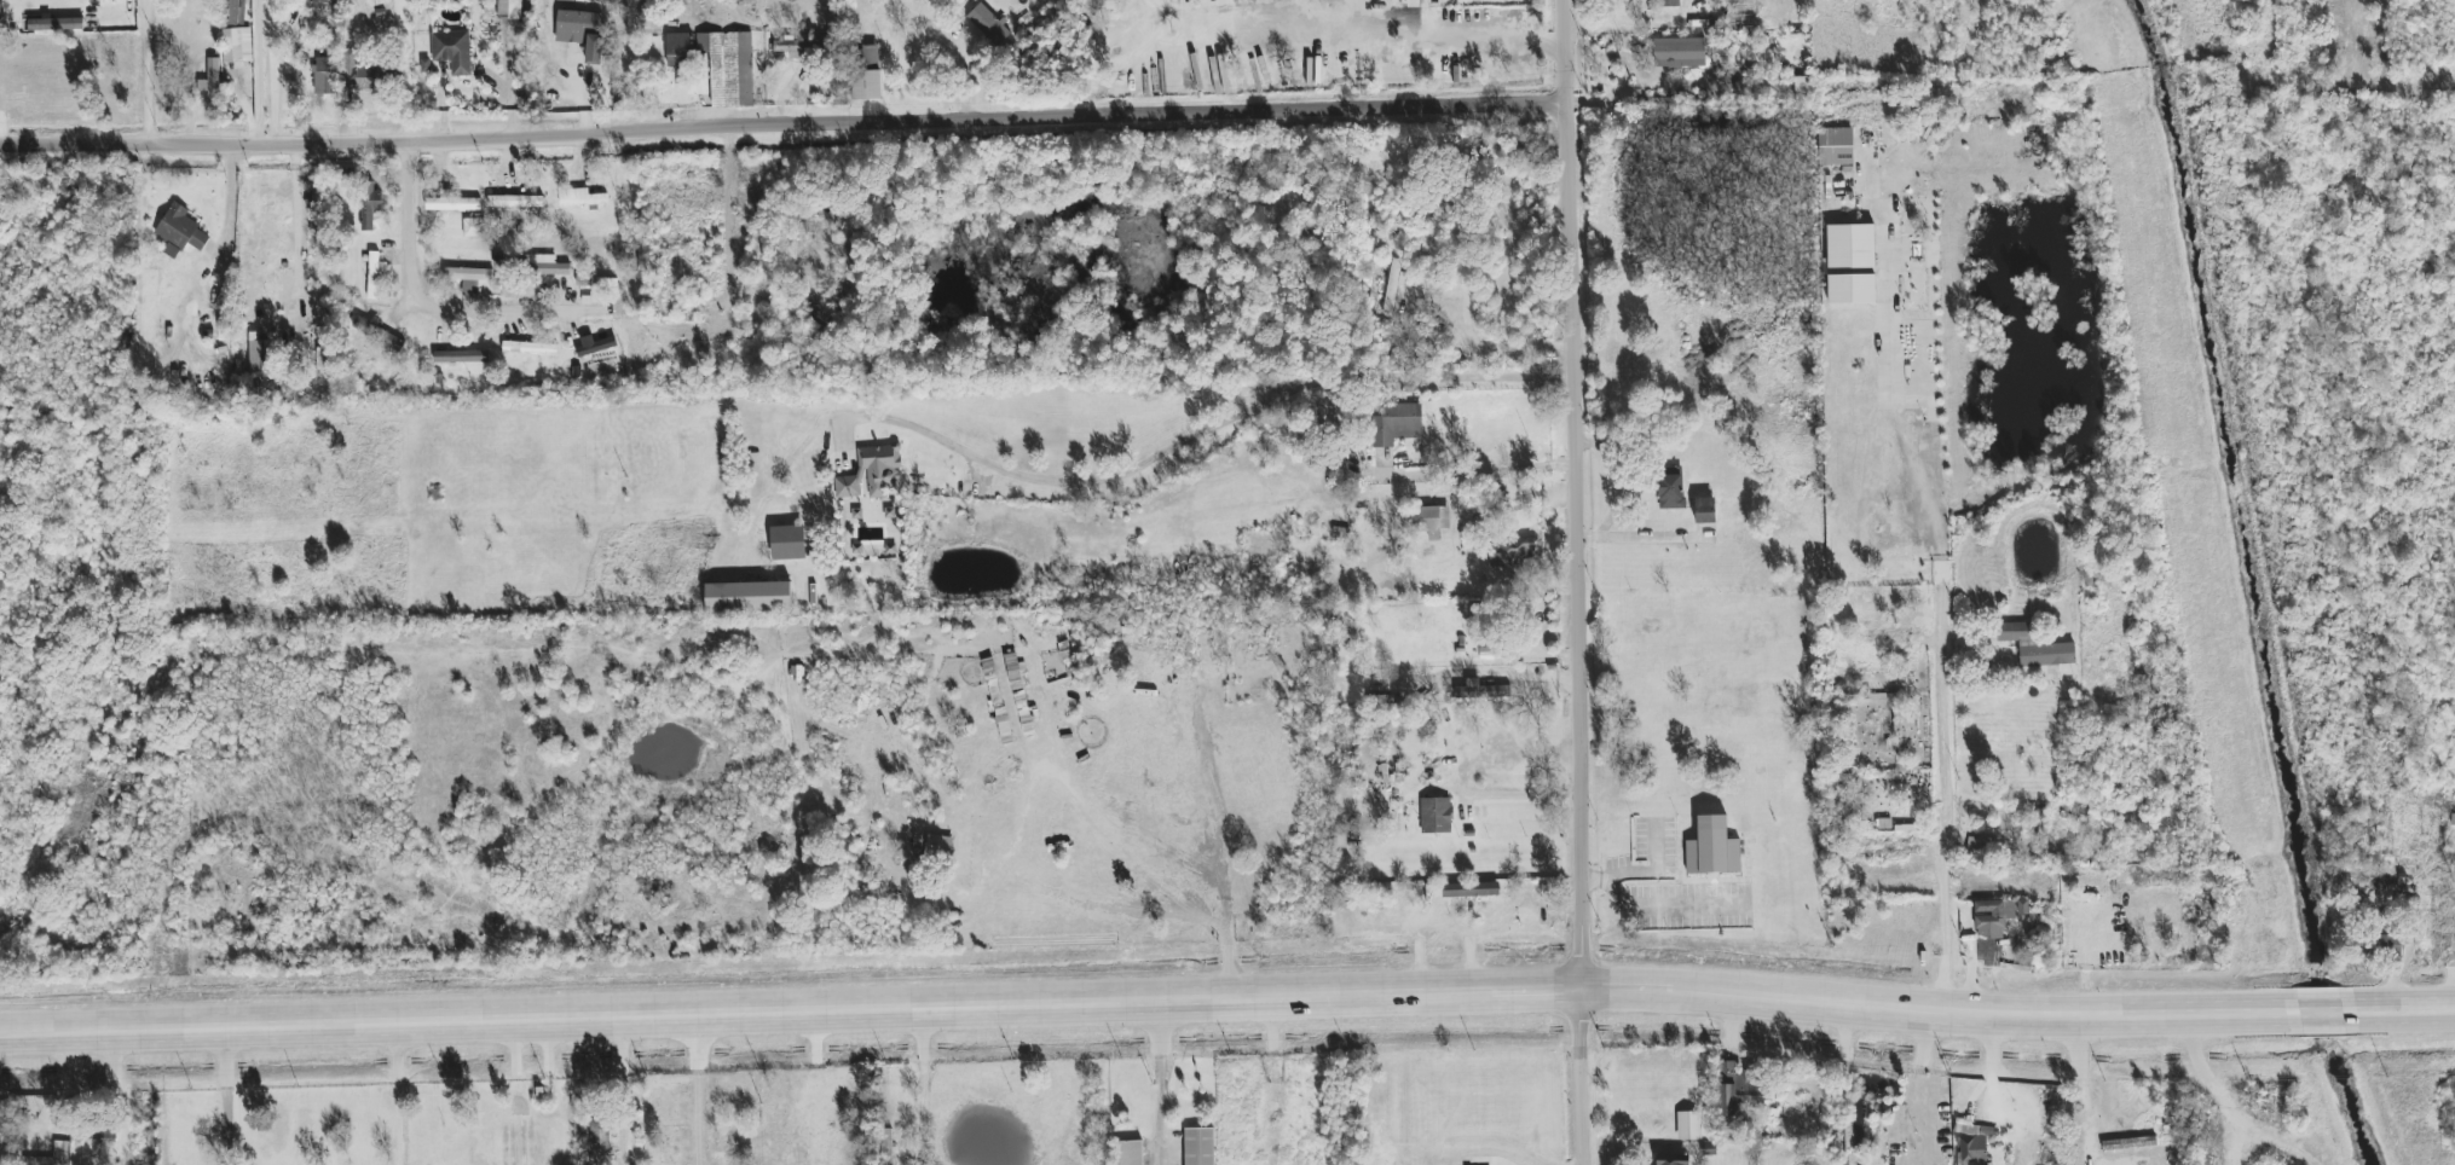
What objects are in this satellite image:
building: (1413, 0)
building: (317, 1)
building: (379, 1)
building: (1665, 2)
building: (1099, 4)
building: (509, 8)
building: (237, 12)
building: (1, 15)
road: (1362, 21)
road: (1423, 21)
building: (56, 24)
building: (989, 24)
building: (580, 36)
road: (1244, 39)
road: (1419, 41)
road: (945, 42)
building: (237, 45)
building: (802, 47)
building: (680, 50)
building: (452, 51)
road: (1572, 51)
building: (1679, 53)
building: (872, 57)
building: (729, 68)
road: (145, 69)
road: (259, 70)
road: (270, 70)
building: (325, 75)
building: (212, 80)
building: (867, 85)
building: (1802, 88)
road: (583, 94)
road: (786, 126)
building: (1836, 146)
building: (580, 197)
building: (452, 203)
building: (370, 205)
road: (226, 219)
road: (306, 225)
building: (473, 227)
building: (180, 231)
road: (405, 237)
building: (1850, 263)
building: (375, 273)
building: (473, 280)
building: (1392, 284)
building: (379, 334)
building: (595, 344)
road: (1480, 346)
building: (530, 348)
building: (262, 355)
building: (461, 357)
building: (323, 363)
building: (1396, 424)
road: (1206, 431)
building: (880, 466)
road: (1471, 474)
road: (1922, 477)
building: (848, 486)
building: (1670, 489)
building: (1705, 510)
building: (1429, 521)
road: (1644, 535)
building: (787, 543)
road: (1576, 546)
building: (1510, 556)
building: (749, 597)
building: (2037, 649)
building: (1483, 690)
road: (1524, 805)
building: (1436, 816)
road: (1942, 827)
building: (2041, 827)
building: (1982, 845)
building: (938, 847)
building: (1712, 847)
building: (1471, 889)
road: (1656, 909)
building: (1993, 918)
road: (1142, 1003)
road: (2418, 1012)
road: (2332, 1013)
road: (1579, 1077)
road: (1162, 1083)
road: (1922, 1085)
road: (920, 1089)
building: (1727, 1089)
road: (700, 1091)
road: (2085, 1091)
road: (225, 1100)
building: (1688, 1125)
building: (599, 1135)
building: (2128, 1143)
building: (886, 1146)
building: (1198, 1146)
building: (1975, 1146)
building: (60, 1148)
building: (1130, 1153)
building: (2050, 1154)
building: (1673, 1159)

